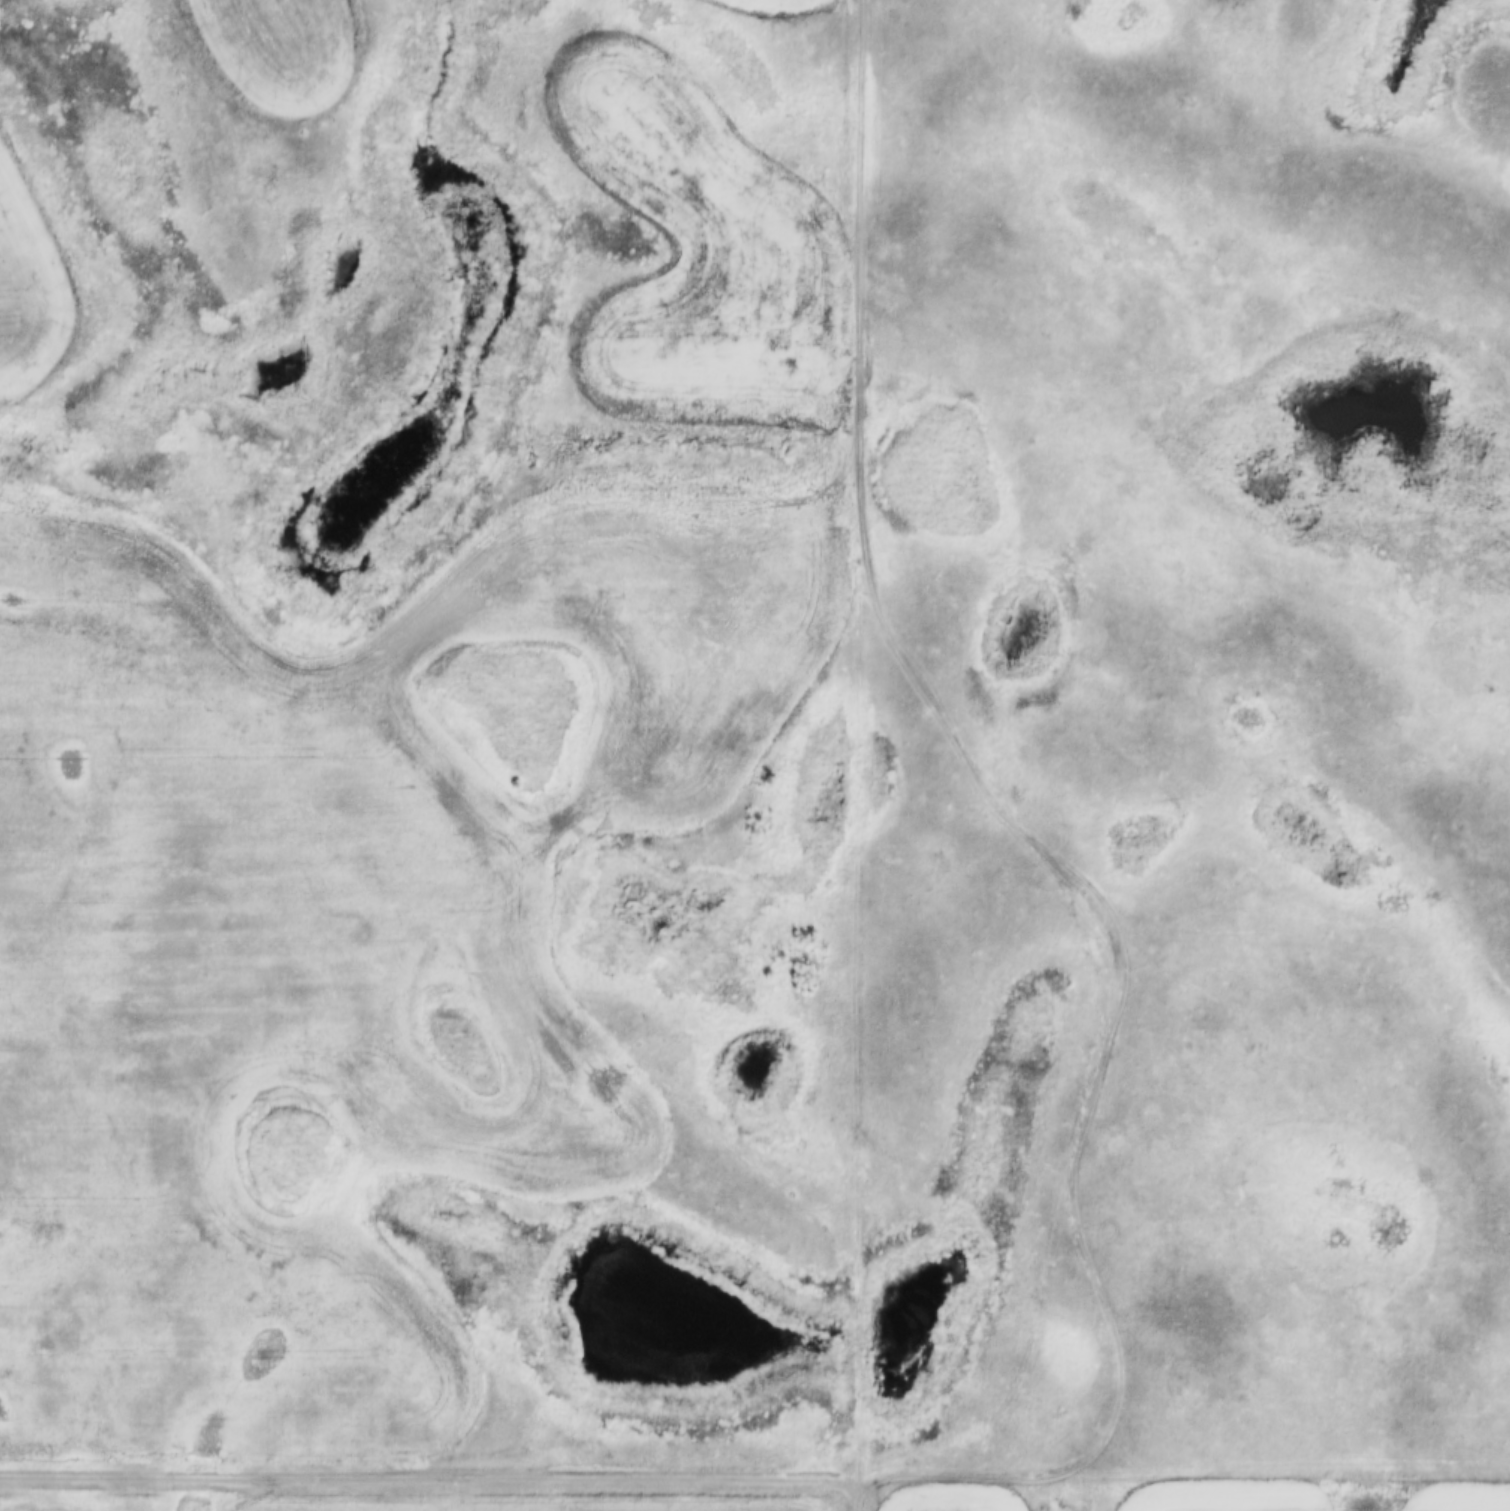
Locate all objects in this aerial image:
road: (1003, 800)
road: (430, 1480)

